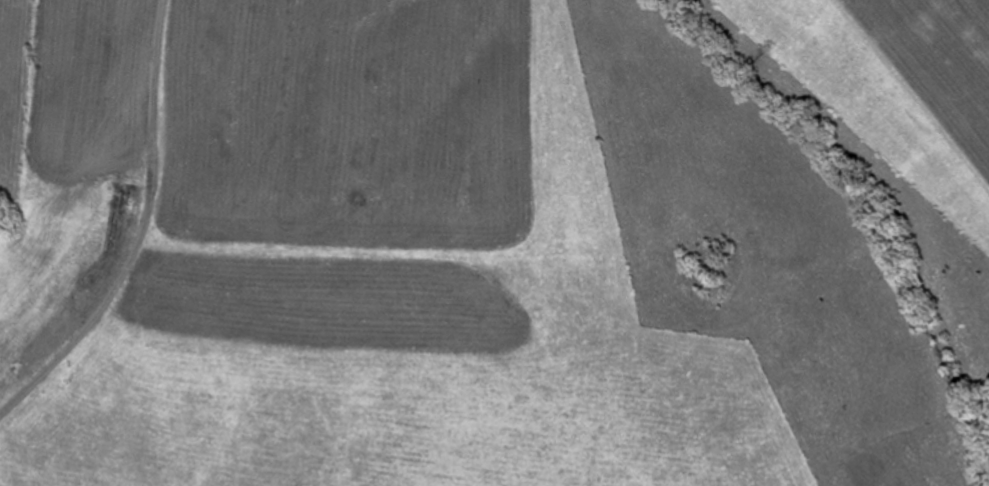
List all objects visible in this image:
road: (121, 205)

